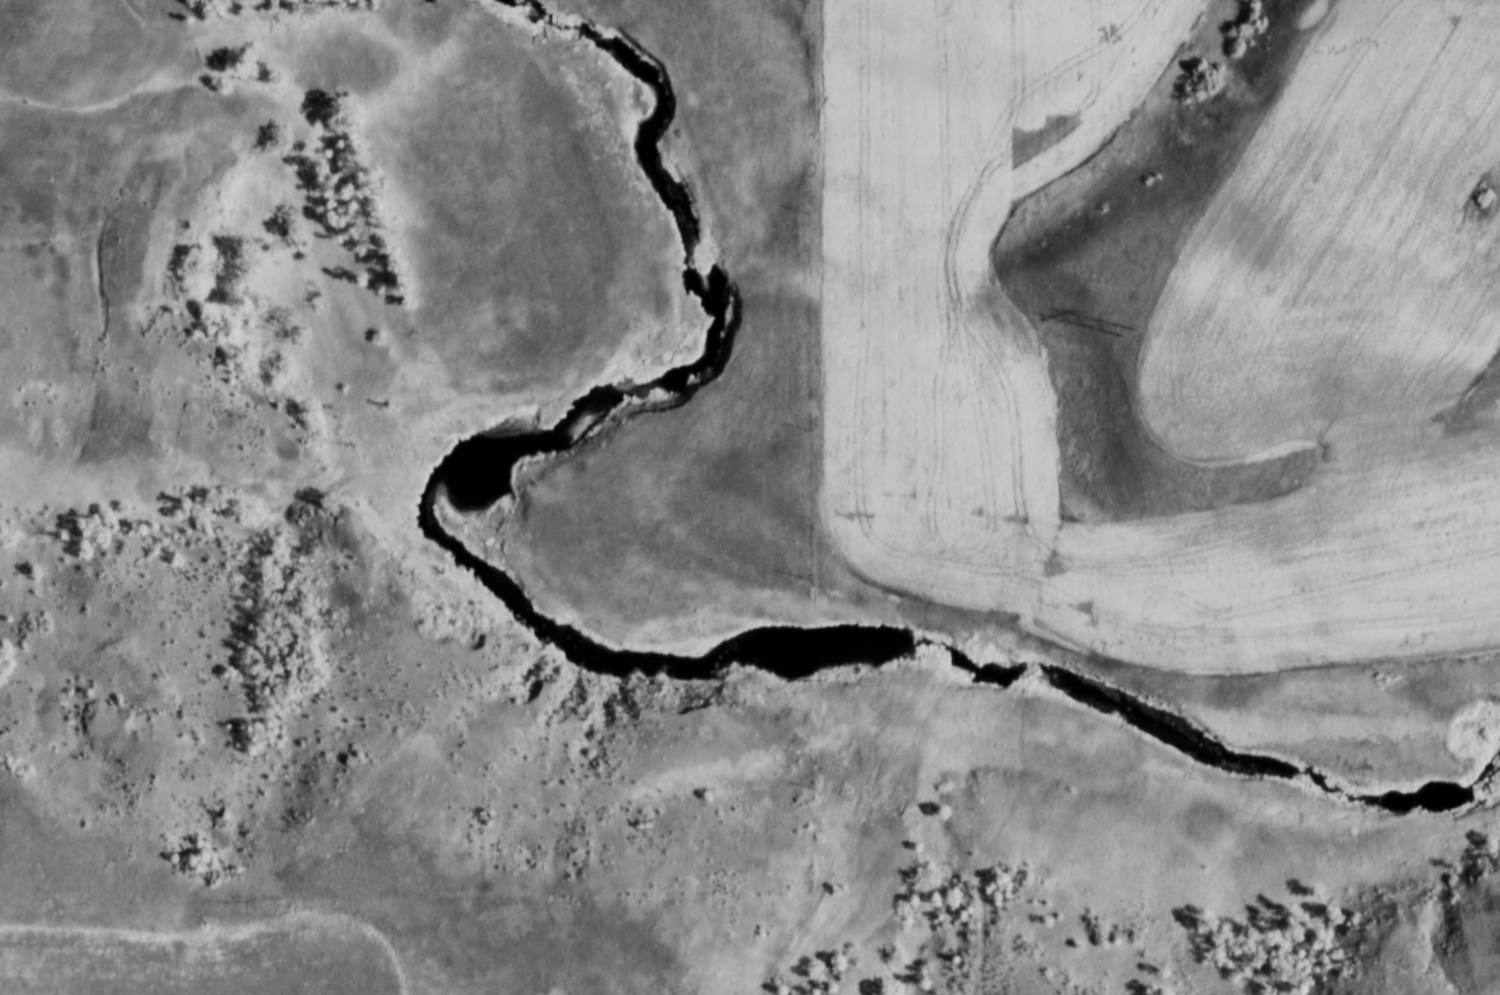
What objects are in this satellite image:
power tower: (1123, 340)

